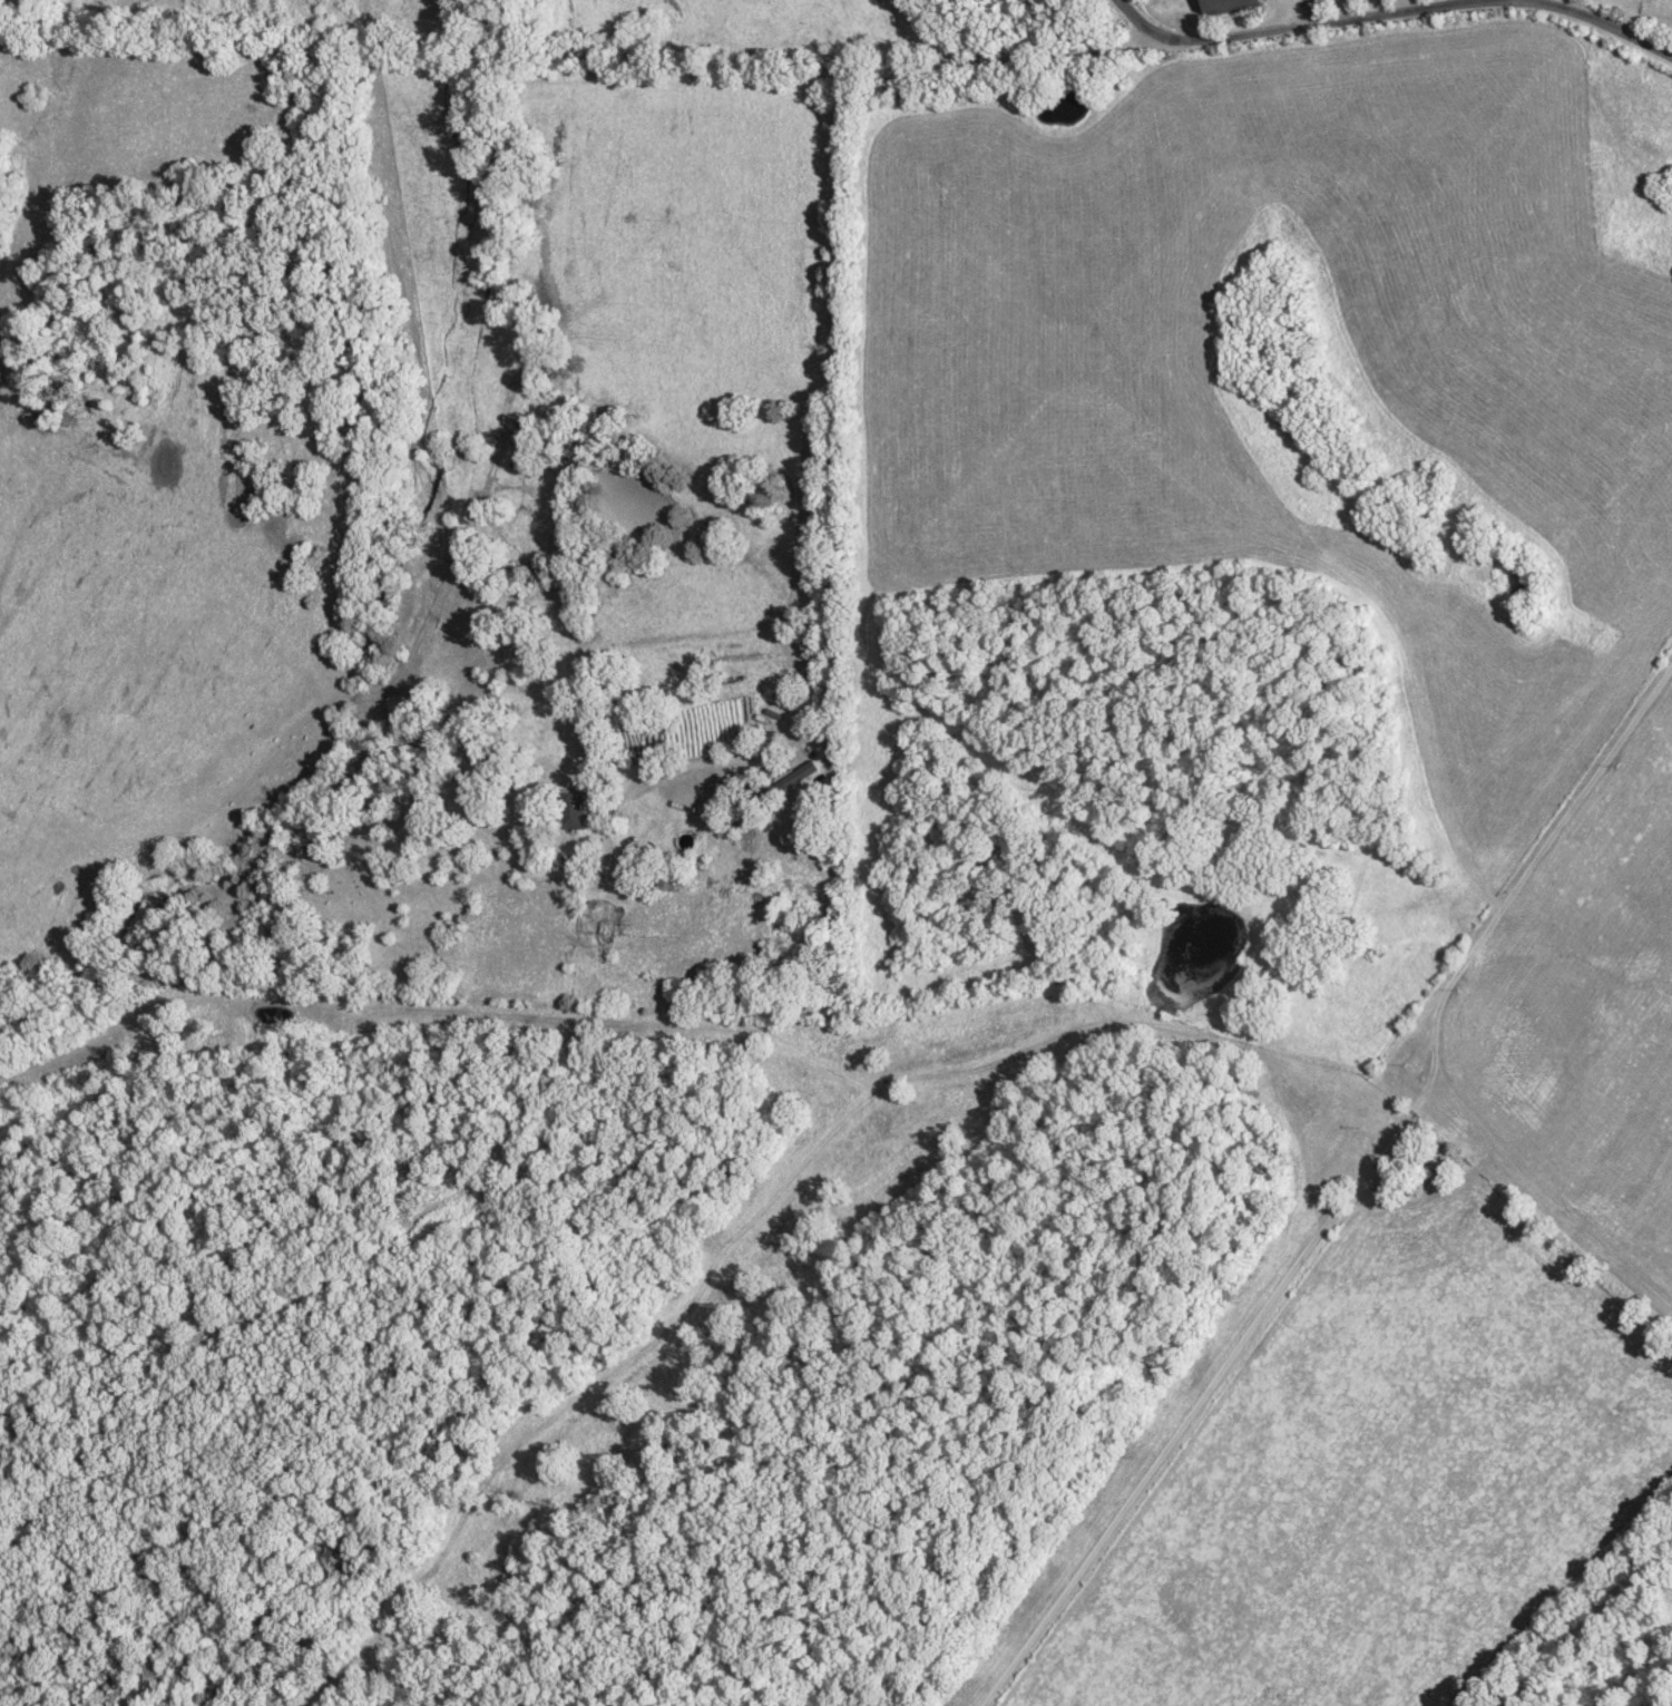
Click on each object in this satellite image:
road: (1389, 18)
road: (835, 358)
building: (803, 777)
building: (579, 810)
road: (1349, 1192)

